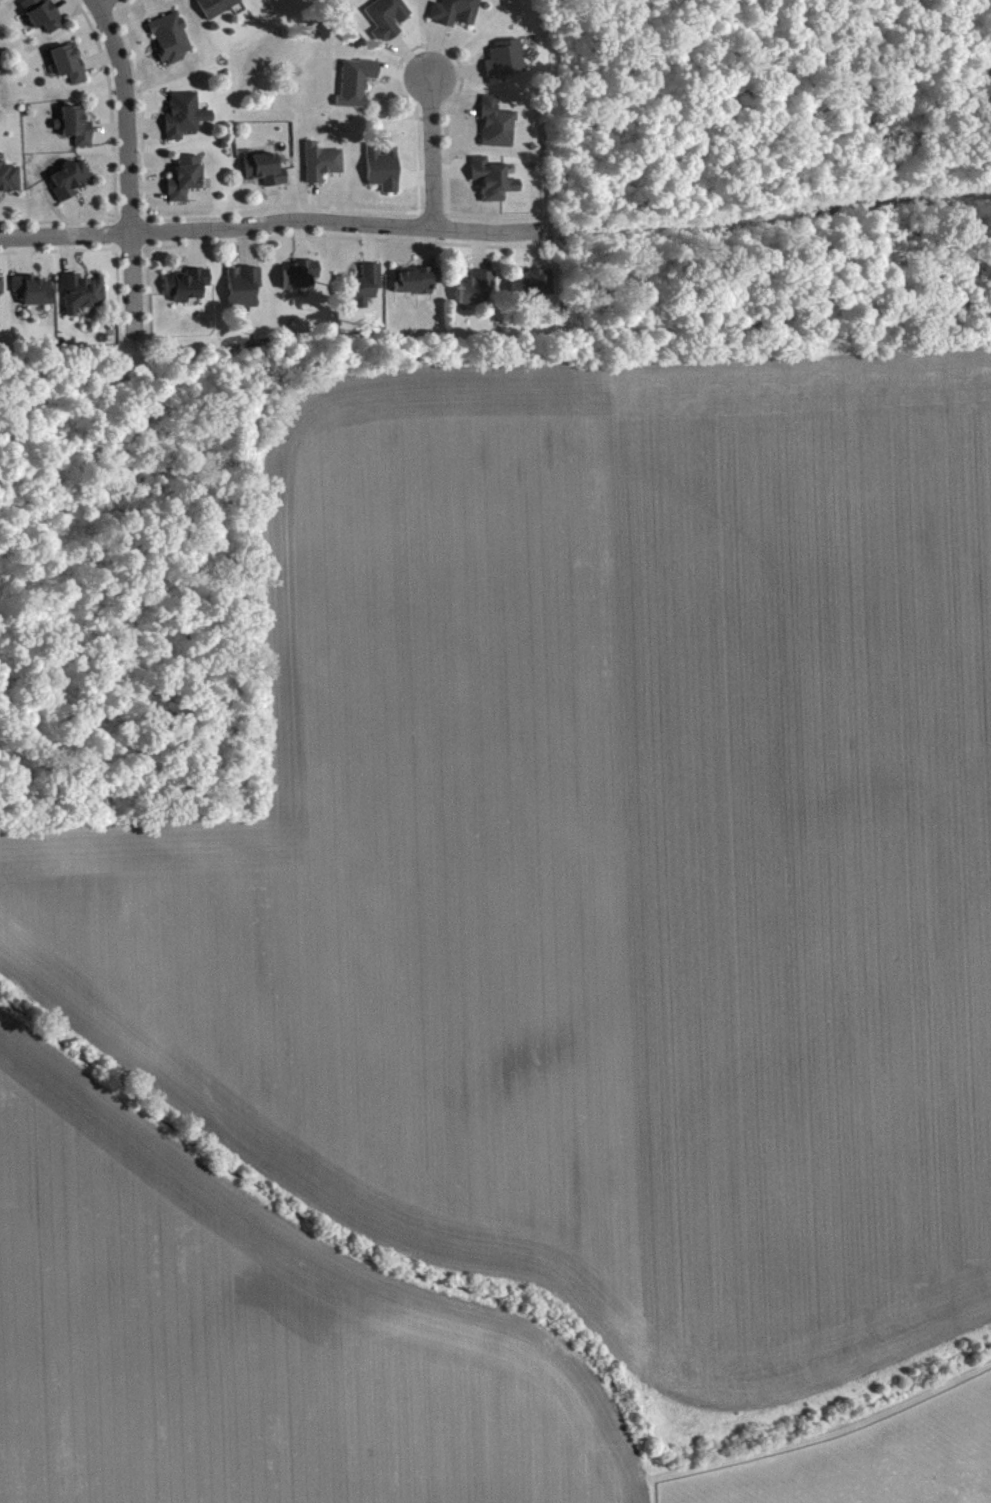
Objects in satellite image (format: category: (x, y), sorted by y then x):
building: (6, 1)
road: (99, 2)
building: (218, 10)
building: (457, 15)
building: (42, 20)
building: (388, 23)
building: (171, 44)
building: (505, 67)
building: (69, 69)
building: (357, 88)
building: (185, 122)
building: (498, 130)
building: (75, 132)
road: (431, 152)
building: (323, 168)
road: (125, 172)
building: (265, 175)
building: (384, 175)
building: (10, 183)
building: (185, 184)
building: (71, 185)
building: (494, 186)
road: (274, 221)
building: (301, 281)
building: (416, 286)
building: (187, 290)
building: (533, 290)
building: (1, 291)
building: (244, 292)
building: (361, 292)
building: (478, 293)
building: (32, 296)
building: (82, 299)

